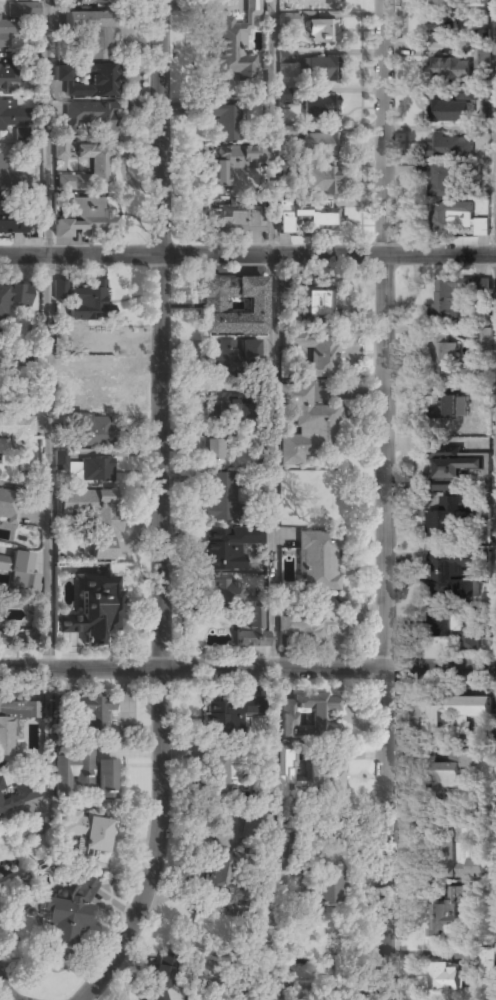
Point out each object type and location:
building: (322, 1)
building: (92, 2)
building: (448, 2)
building: (251, 6)
building: (288, 19)
building: (19, 24)
building: (321, 31)
building: (444, 31)
building: (93, 33)
building: (225, 45)
building: (482, 49)
building: (285, 56)
building: (318, 68)
building: (450, 68)
building: (8, 75)
building: (90, 81)
building: (283, 95)
building: (319, 107)
building: (450, 111)
building: (12, 116)
building: (88, 118)
building: (223, 119)
road: (274, 127)
building: (474, 129)
building: (286, 132)
building: (317, 145)
building: (451, 146)
building: (60, 147)
building: (32, 151)
building: (231, 162)
building: (90, 170)
building: (2, 175)
building: (441, 180)
building: (321, 181)
building: (233, 217)
building: (309, 217)
building: (456, 217)
building: (84, 219)
building: (13, 224)
road: (383, 237)
road: (161, 239)
road: (247, 254)
building: (482, 284)
building: (60, 289)
building: (14, 297)
building: (445, 298)
building: (91, 303)
building: (314, 304)
building: (232, 306)
road: (50, 334)
building: (485, 334)
building: (99, 352)
building: (313, 353)
building: (235, 356)
building: (7, 357)
building: (443, 357)
building: (92, 398)
building: (226, 406)
building: (445, 406)
building: (307, 426)
building: (94, 432)
building: (17, 437)
building: (214, 448)
building: (61, 459)
road: (274, 462)
building: (460, 465)
building: (96, 470)
building: (447, 484)
building: (313, 493)
building: (0, 494)
building: (220, 496)
building: (10, 505)
building: (449, 516)
building: (93, 519)
building: (229, 546)
building: (318, 560)
building: (18, 569)
building: (443, 570)
building: (483, 590)
building: (241, 608)
building: (93, 609)
building: (454, 627)
building: (303, 629)
building: (26, 635)
building: (3, 637)
road: (247, 669)
building: (453, 710)
building: (303, 714)
building: (227, 715)
building: (93, 716)
building: (14, 724)
road: (384, 736)
road: (160, 749)
building: (72, 770)
building: (451, 770)
building: (216, 774)
building: (322, 775)
building: (104, 780)
building: (1, 784)
building: (280, 784)
building: (22, 795)
building: (249, 821)
building: (90, 832)
building: (458, 851)
building: (292, 859)
building: (220, 872)
building: (325, 883)
building: (448, 911)
building: (67, 913)
building: (487, 959)
building: (446, 975)
building: (266, 976)
building: (161, 979)
road: (5, 988)
building: (327, 995)

